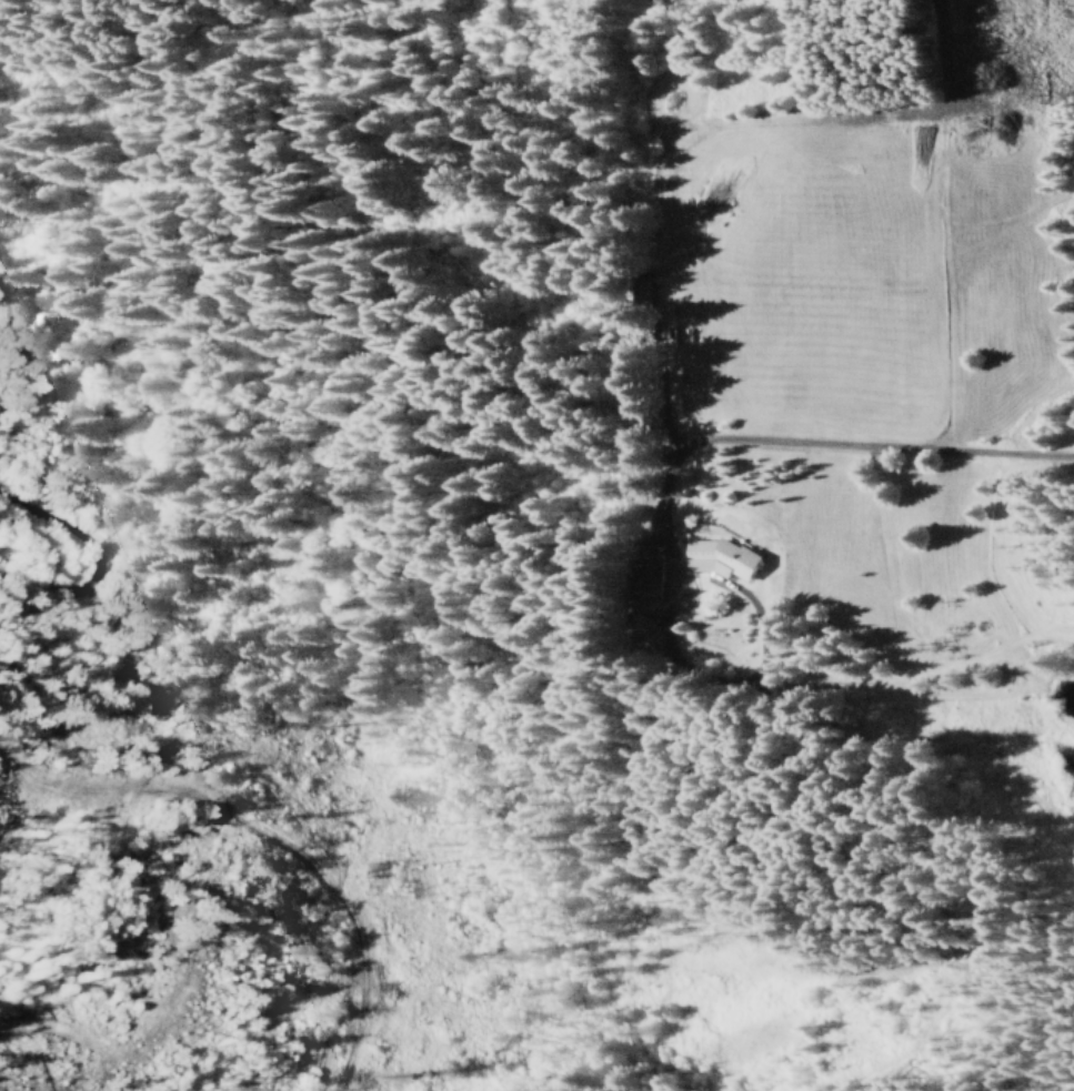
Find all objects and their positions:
road: (1033, 73)
building: (716, 556)
building: (641, 577)

